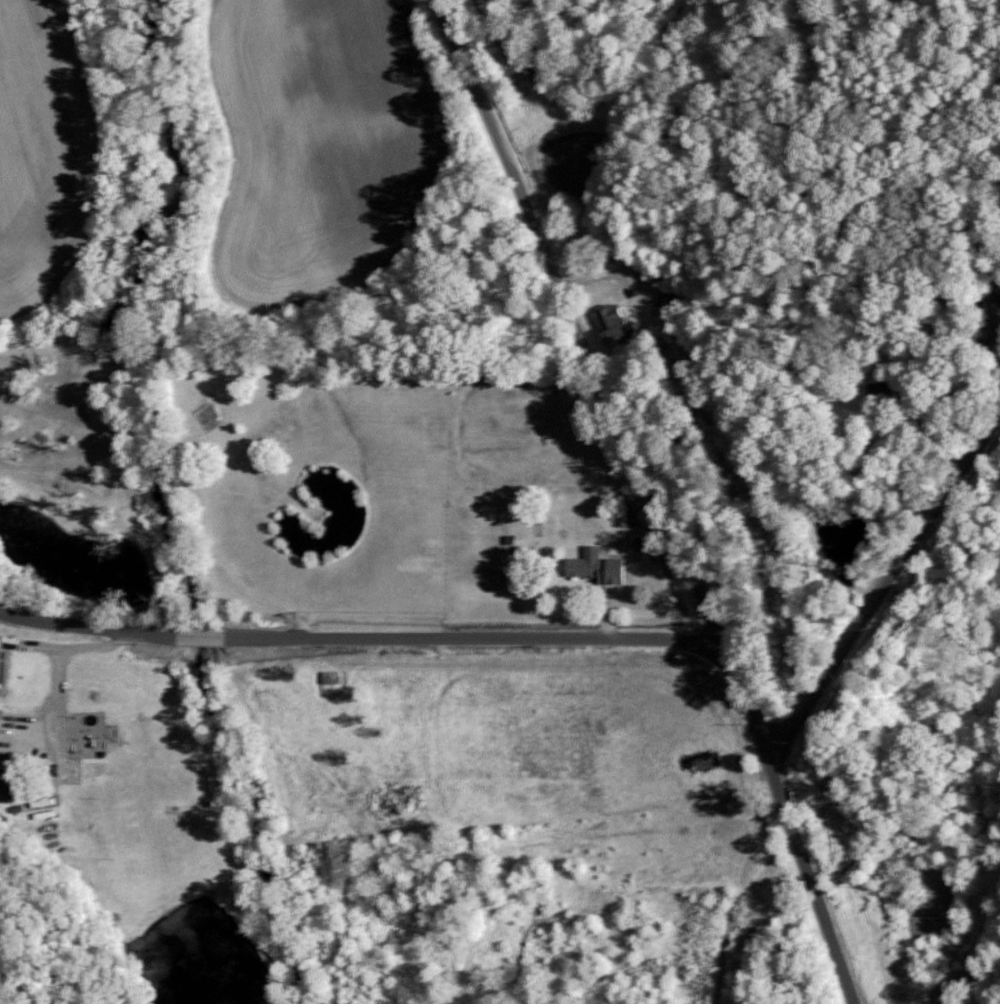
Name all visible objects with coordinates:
building: (610, 323)
road: (130, 488)
road: (654, 498)
road: (215, 543)
building: (596, 566)
road: (888, 572)
road: (361, 638)
road: (78, 642)
building: (1, 671)
road: (58, 720)
building: (4, 781)
road: (991, 990)

